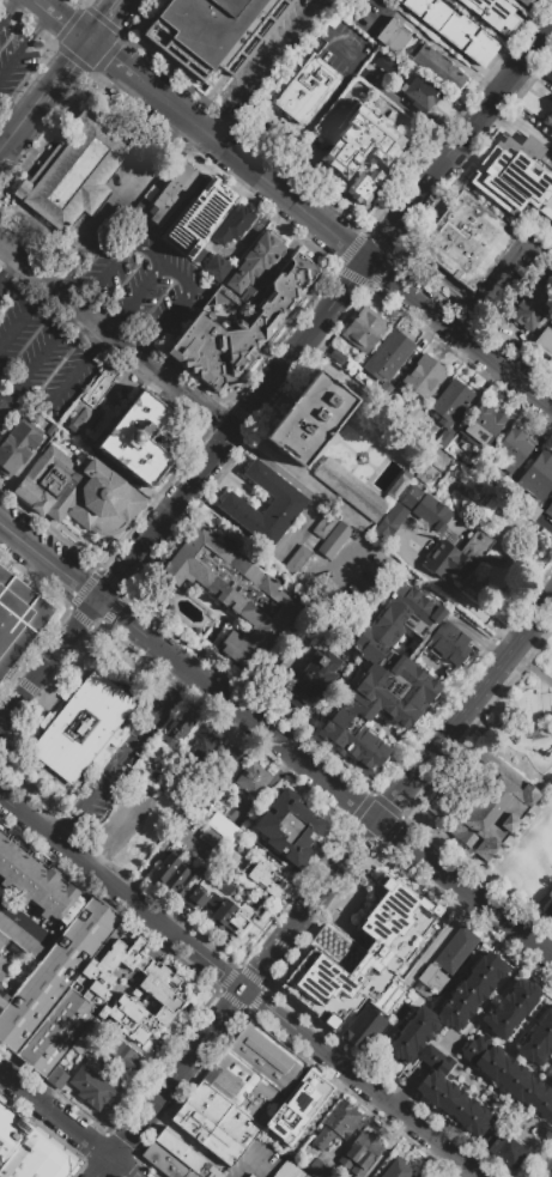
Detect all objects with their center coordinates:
building: (527, 2)
road: (5, 6)
building: (493, 14)
road: (68, 19)
road: (110, 20)
road: (551, 26)
building: (454, 29)
building: (212, 31)
building: (394, 35)
traffic signals: (93, 41)
road: (432, 43)
road: (26, 44)
parking lot: (345, 50)
parking lot: (22, 54)
parking lot: (280, 56)
road: (115, 57)
road: (350, 57)
road: (269, 59)
building: (383, 62)
building: (437, 67)
road: (68, 71)
building: (548, 73)
building: (305, 92)
building: (420, 97)
road: (174, 107)
building: (548, 119)
road: (25, 121)
road: (522, 125)
road: (218, 128)
road: (4, 139)
road: (302, 139)
road: (518, 139)
building: (359, 142)
road: (4, 146)
road: (8, 158)
building: (73, 174)
building: (514, 176)
building: (364, 187)
building: (172, 192)
road: (120, 204)
building: (210, 205)
parking lot: (117, 211)
building: (233, 225)
building: (551, 225)
road: (394, 230)
building: (466, 239)
building: (256, 260)
road: (165, 265)
building: (299, 266)
building: (550, 267)
road: (7, 268)
building: (218, 268)
road: (381, 272)
building: (289, 280)
parking lot: (150, 287)
road: (496, 290)
road: (132, 296)
building: (274, 301)
building: (530, 308)
road: (23, 314)
parking lot: (18, 316)
building: (370, 323)
building: (251, 329)
building: (358, 339)
road: (116, 340)
building: (545, 341)
building: (207, 353)
road: (37, 356)
building: (389, 362)
parking lot: (60, 370)
building: (424, 378)
building: (99, 386)
road: (62, 387)
building: (450, 401)
building: (147, 413)
building: (414, 417)
building: (310, 418)
building: (84, 420)
building: (481, 425)
building: (49, 429)
building: (444, 442)
building: (17, 444)
building: (511, 450)
building: (135, 451)
road: (299, 475)
building: (538, 478)
building: (396, 485)
building: (350, 489)
road: (186, 491)
building: (79, 493)
building: (287, 504)
building: (427, 509)
building: (548, 511)
building: (389, 523)
building: (327, 526)
building: (335, 541)
road: (28, 547)
building: (457, 557)
building: (298, 562)
building: (235, 593)
road: (455, 595)
building: (18, 619)
road: (69, 638)
road: (530, 668)
building: (392, 675)
building: (311, 680)
road: (217, 693)
road: (545, 705)
road: (466, 710)
park: (524, 718)
building: (83, 727)
building: (178, 727)
building: (201, 746)
road: (123, 756)
building: (245, 773)
road: (453, 775)
building: (152, 776)
building: (481, 805)
building: (280, 819)
building: (223, 827)
building: (213, 841)
building: (303, 841)
building: (2, 842)
building: (232, 859)
park: (532, 860)
building: (11, 863)
building: (166, 869)
building: (26, 876)
building: (177, 878)
building: (265, 878)
road: (330, 880)
building: (41, 886)
building: (189, 887)
road: (125, 890)
road: (465, 890)
building: (210, 894)
building: (50, 897)
building: (57, 900)
building: (65, 904)
building: (548, 909)
building: (223, 911)
building: (242, 916)
building: (2, 940)
building: (22, 940)
road: (163, 942)
road: (171, 948)
building: (456, 950)
road: (271, 955)
building: (360, 957)
building: (113, 963)
building: (56, 971)
building: (157, 971)
building: (431, 977)
road: (250, 979)
building: (471, 990)
building: (160, 999)
building: (2, 1003)
building: (511, 1008)
building: (129, 1018)
building: (364, 1030)
building: (56, 1031)
building: (412, 1035)
building: (538, 1039)
road: (196, 1049)
building: (271, 1049)
building: (120, 1055)
parking lot: (436, 1055)
building: (435, 1058)
building: (259, 1064)
building: (509, 1075)
building: (551, 1076)
building: (56, 1079)
road: (362, 1082)
building: (86, 1084)
building: (241, 1086)
road: (405, 1088)
building: (102, 1098)
building: (453, 1104)
building: (298, 1108)
building: (223, 1112)
road: (54, 1115)
building: (336, 1124)
building: (208, 1133)
road: (129, 1134)
building: (178, 1148)
building: (30, 1149)
building: (360, 1152)
building: (506, 1152)
building: (164, 1160)
parking lot: (257, 1161)
road: (103, 1167)
road: (120, 1167)
road: (249, 1167)
building: (315, 1167)
building: (398, 1169)
building: (286, 1170)
road: (548, 1172)
building: (192, 1173)
building: (213, 1173)
building: (299, 1173)
building: (253, 1176)

